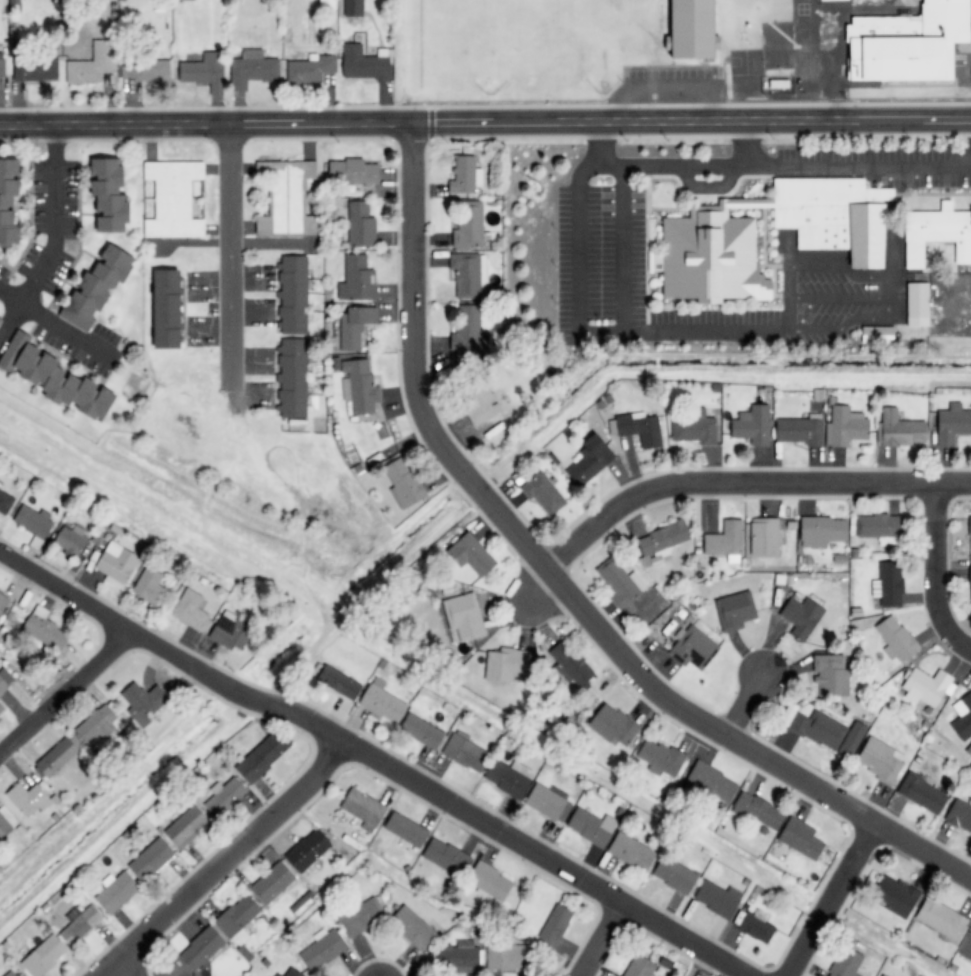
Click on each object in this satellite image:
building: (831, 0)
building: (326, 6)
building: (353, 7)
building: (696, 28)
building: (905, 43)
building: (92, 63)
building: (363, 64)
building: (31, 66)
building: (253, 68)
building: (310, 69)
building: (144, 70)
building: (205, 71)
road: (485, 124)
parking lot: (820, 157)
building: (352, 172)
building: (465, 175)
building: (110, 195)
building: (286, 198)
building: (173, 199)
building: (9, 200)
building: (832, 214)
building: (360, 225)
building: (468, 225)
building: (935, 232)
road: (54, 237)
road: (229, 253)
building: (710, 253)
parking lot: (587, 258)
building: (468, 274)
building: (356, 279)
building: (98, 287)
building: (292, 294)
building: (914, 302)
building: (168, 309)
parking lot: (725, 316)
road: (54, 324)
building: (354, 326)
building: (466, 333)
building: (56, 377)
building: (291, 378)
building: (359, 384)
building: (479, 399)
building: (952, 424)
building: (752, 425)
building: (845, 427)
building: (640, 428)
building: (694, 428)
building: (899, 429)
building: (800, 431)
building: (589, 461)
road: (738, 482)
building: (403, 484)
building: (543, 494)
building: (4, 500)
road: (299, 500)
building: (33, 521)
building: (876, 525)
building: (967, 526)
building: (823, 530)
building: (764, 536)
building: (70, 540)
building: (726, 540)
building: (661, 542)
building: (472, 555)
building: (116, 562)
road: (934, 575)
building: (618, 582)
building: (968, 582)
building: (149, 585)
building: (886, 585)
road: (64, 589)
road: (551, 592)
road: (362, 596)
road: (523, 596)
building: (3, 601)
building: (189, 610)
building: (735, 611)
building: (464, 616)
building: (802, 616)
building: (231, 630)
building: (42, 631)
building: (892, 638)
building: (692, 648)
building: (570, 663)
building: (507, 664)
building: (830, 675)
building: (340, 683)
building: (3, 686)
building: (923, 687)
road: (64, 690)
road: (735, 697)
building: (143, 701)
building: (382, 702)
building: (1, 708)
building: (960, 717)
building: (99, 724)
building: (614, 725)
building: (422, 731)
building: (827, 731)
building: (466, 753)
building: (262, 756)
building: (56, 758)
building: (660, 758)
building: (876, 759)
building: (509, 777)
building: (712, 781)
building: (918, 793)
building: (224, 796)
road: (439, 797)
building: (28, 799)
building: (549, 803)
building: (364, 809)
building: (759, 811)
building: (957, 815)
building: (3, 826)
building: (187, 826)
building: (592, 827)
building: (406, 830)
building: (801, 838)
building: (308, 850)
building: (632, 852)
building: (445, 856)
building: (151, 859)
road: (225, 860)
building: (674, 875)
building: (490, 882)
building: (273, 883)
building: (116, 891)
building: (889, 896)
building: (717, 898)
road: (830, 900)
building: (363, 915)
building: (238, 919)
building: (937, 919)
building: (81, 925)
building: (556, 925)
building: (756, 926)
building: (412, 927)
road: (601, 940)
building: (201, 948)
building: (322, 949)
building: (44, 956)
building: (509, 956)
building: (464, 957)
building: (842, 963)
building: (639, 966)
building: (11, 973)
building: (292, 973)
building: (277, 974)
building: (877, 975)

